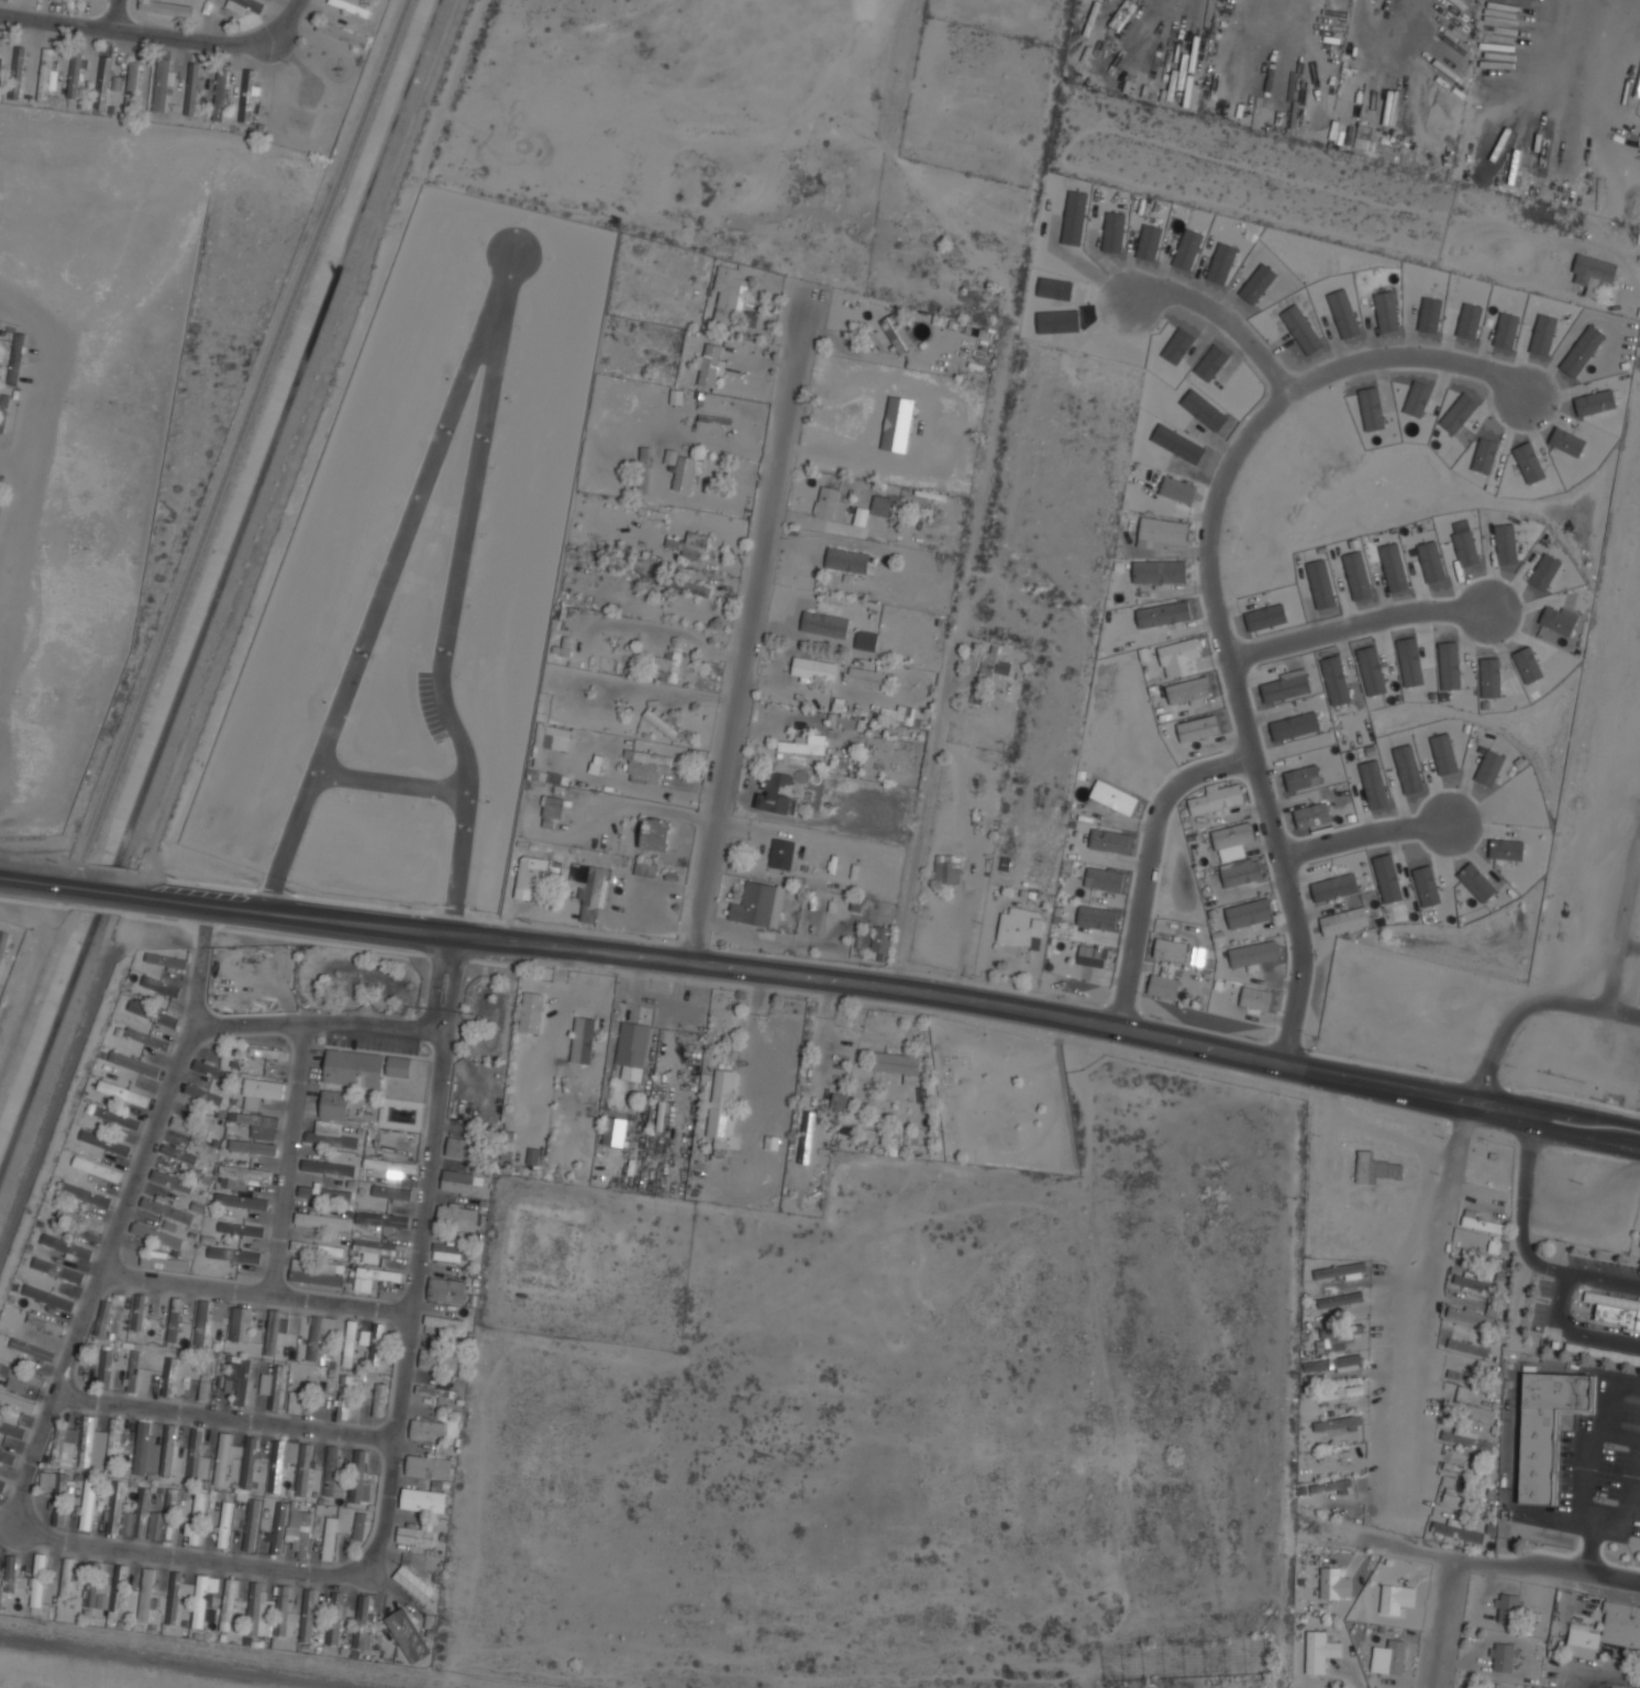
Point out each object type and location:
building: (246, 1)
building: (352, 7)
building: (168, 8)
road: (114, 14)
road: (286, 21)
building: (343, 34)
road: (132, 35)
building: (16, 71)
building: (45, 74)
building: (75, 75)
building: (102, 81)
building: (162, 85)
building: (132, 86)
building: (191, 89)
building: (247, 95)
building: (220, 96)
building: (1362, 136)
building: (1593, 271)
building: (729, 293)
road: (1226, 318)
building: (896, 333)
building: (16, 358)
building: (710, 364)
building: (3, 411)
road: (239, 444)
road: (34, 451)
building: (671, 458)
road: (15, 464)
building: (644, 469)
building: (684, 474)
building: (1176, 489)
building: (831, 503)
building: (880, 506)
building: (1163, 530)
building: (696, 541)
building: (846, 559)
building: (1160, 573)
building: (684, 586)
road: (451, 591)
road: (1215, 591)
road: (745, 609)
building: (1163, 614)
road: (376, 620)
building: (824, 621)
building: (1558, 621)
road: (1360, 624)
building: (866, 640)
building: (1178, 652)
building: (987, 665)
building: (1527, 665)
building: (1449, 666)
building: (672, 667)
building: (1004, 667)
building: (810, 669)
building: (1489, 677)
building: (867, 678)
building: (1285, 688)
building: (1187, 690)
building: (902, 713)
building: (660, 721)
building: (842, 722)
building: (1295, 725)
building: (1197, 729)
building: (550, 741)
building: (801, 746)
building: (1443, 754)
building: (646, 766)
building: (595, 767)
building: (1488, 768)
building: (1407, 769)
building: (1301, 777)
road: (392, 784)
building: (1373, 785)
building: (775, 792)
building: (1113, 797)
building: (1215, 799)
building: (552, 812)
building: (1311, 814)
road: (1365, 834)
building: (655, 835)
building: (1232, 836)
building: (1109, 841)
road: (917, 844)
building: (1506, 849)
building: (782, 854)
road: (1149, 862)
building: (645, 868)
building: (948, 869)
building: (1241, 873)
building: (527, 876)
building: (1387, 878)
building: (1102, 879)
building: (1476, 882)
road: (38, 884)
road: (211, 884)
building: (1426, 886)
building: (1334, 887)
building: (590, 890)
road: (102, 892)
road: (274, 892)
road: (362, 903)
building: (758, 904)
building: (1250, 912)
building: (1096, 918)
building: (1344, 921)
building: (1020, 926)
building: (875, 941)
building: (3, 943)
building: (1171, 949)
building: (1253, 955)
building: (1094, 956)
building: (166, 960)
road: (890, 978)
building: (160, 987)
building: (1163, 987)
building: (1254, 998)
road: (1588, 1008)
building: (531, 1012)
building: (153, 1013)
road: (318, 1021)
building: (147, 1039)
building: (581, 1040)
building: (631, 1050)
building: (266, 1052)
building: (897, 1063)
building: (134, 1064)
building: (399, 1066)
building: (354, 1068)
building: (212, 1070)
building: (264, 1088)
building: (926, 1092)
building: (123, 1093)
building: (203, 1095)
building: (838, 1102)
building: (334, 1104)
building: (720, 1108)
building: (588, 1111)
building: (119, 1118)
building: (206, 1119)
building: (262, 1123)
building: (190, 1128)
building: (614, 1131)
building: (806, 1136)
building: (332, 1140)
building: (104, 1142)
building: (252, 1147)
building: (461, 1147)
building: (180, 1154)
road: (288, 1156)
building: (533, 1156)
building: (798, 1162)
building: (97, 1166)
building: (328, 1167)
building: (1374, 1167)
building: (392, 1169)
building: (241, 1176)
building: (456, 1180)
building: (171, 1181)
building: (391, 1192)
building: (325, 1193)
road: (1526, 1196)
building: (242, 1201)
building: (167, 1209)
building: (69, 1212)
building: (457, 1217)
building: (383, 1220)
building: (322, 1221)
building: (1483, 1224)
building: (242, 1229)
building: (156, 1234)
building: (67, 1246)
building: (317, 1246)
building: (381, 1248)
building: (452, 1252)
building: (235, 1255)
building: (1481, 1256)
building: (165, 1261)
building: (58, 1269)
building: (1339, 1269)
road: (1552, 1269)
building: (315, 1271)
building: (381, 1275)
building: (1474, 1284)
road: (255, 1290)
building: (446, 1290)
building: (48, 1298)
building: (118, 1299)
building: (1340, 1299)
road: (1555, 1299)
building: (1615, 1310)
building: (140, 1312)
building: (1473, 1318)
building: (103, 1319)
road: (1412, 1320)
building: (175, 1321)
building: (445, 1322)
building: (46, 1323)
building: (202, 1323)
building: (242, 1324)
building: (1341, 1331)
building: (275, 1332)
building: (319, 1334)
building: (364, 1337)
building: (351, 1343)
building: (376, 1345)
building: (1467, 1347)
building: (32, 1350)
building: (1592, 1352)
building: (443, 1361)
building: (1336, 1363)
building: (104, 1369)
building: (133, 1369)
building: (1464, 1376)
building: (169, 1377)
building: (20, 1378)
building: (206, 1381)
building: (243, 1382)
building: (229, 1384)
building: (275, 1386)
building: (199, 1387)
building: (437, 1389)
building: (1339, 1392)
building: (344, 1396)
building: (303, 1400)
building: (379, 1400)
building: (16, 1401)
building: (1469, 1410)
building: (12, 1414)
road: (224, 1417)
building: (1337, 1422)
building: (1547, 1429)
building: (12, 1430)
building: (428, 1430)
road: (1593, 1437)
building: (1466, 1440)
building: (87, 1442)
building: (114, 1444)
building: (58, 1445)
building: (146, 1450)
building: (168, 1451)
building: (8, 1456)
building: (1333, 1456)
building: (198, 1458)
building: (222, 1458)
building: (250, 1462)
building: (280, 1462)
building: (429, 1467)
building: (303, 1469)
building: (1463, 1470)
building: (331, 1472)
building: (358, 1476)
building: (3, 1485)
building: (1330, 1486)
road: (1629, 1489)
building: (56, 1492)
building: (365, 1493)
building: (422, 1499)
building: (1462, 1501)
building: (88, 1502)
building: (114, 1507)
building: (137, 1515)
building: (165, 1518)
building: (197, 1518)
building: (224, 1524)
building: (251, 1525)
building: (359, 1525)
building: (278, 1528)
building: (1458, 1532)
building: (418, 1534)
building: (302, 1535)
building: (329, 1539)
road: (1588, 1550)
road: (185, 1558)
road: (1470, 1562)
building: (11, 1574)
building: (66, 1577)
building: (38, 1580)
building: (1330, 1582)
building: (414, 1584)
building: (92, 1585)
building: (118, 1587)
building: (146, 1595)
building: (174, 1597)
building: (1397, 1598)
building: (102, 1601)
building: (200, 1601)
building: (229, 1604)
building: (1510, 1608)
building: (254, 1609)
building: (282, 1611)
building: (308, 1615)
building: (333, 1618)
building: (362, 1621)
road: (1436, 1623)
building: (1608, 1631)
building: (407, 1635)
building: (1319, 1652)
building: (1395, 1657)
building: (1504, 1657)
road: (176, 1662)
dam: (149, 1666)

